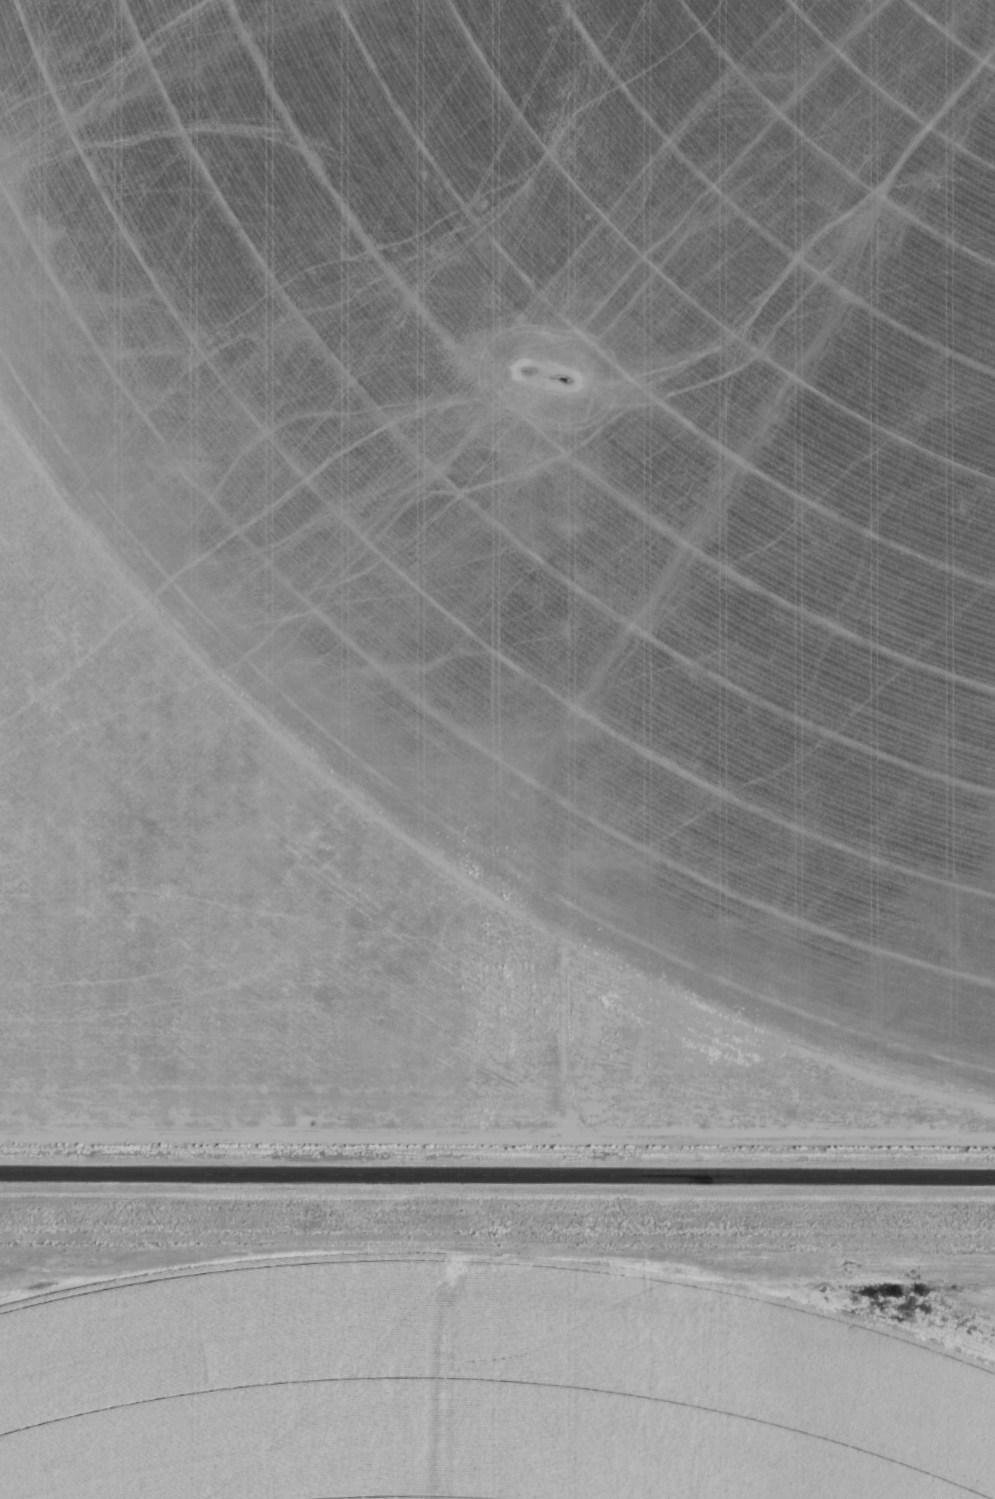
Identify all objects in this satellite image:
road: (497, 1171)

